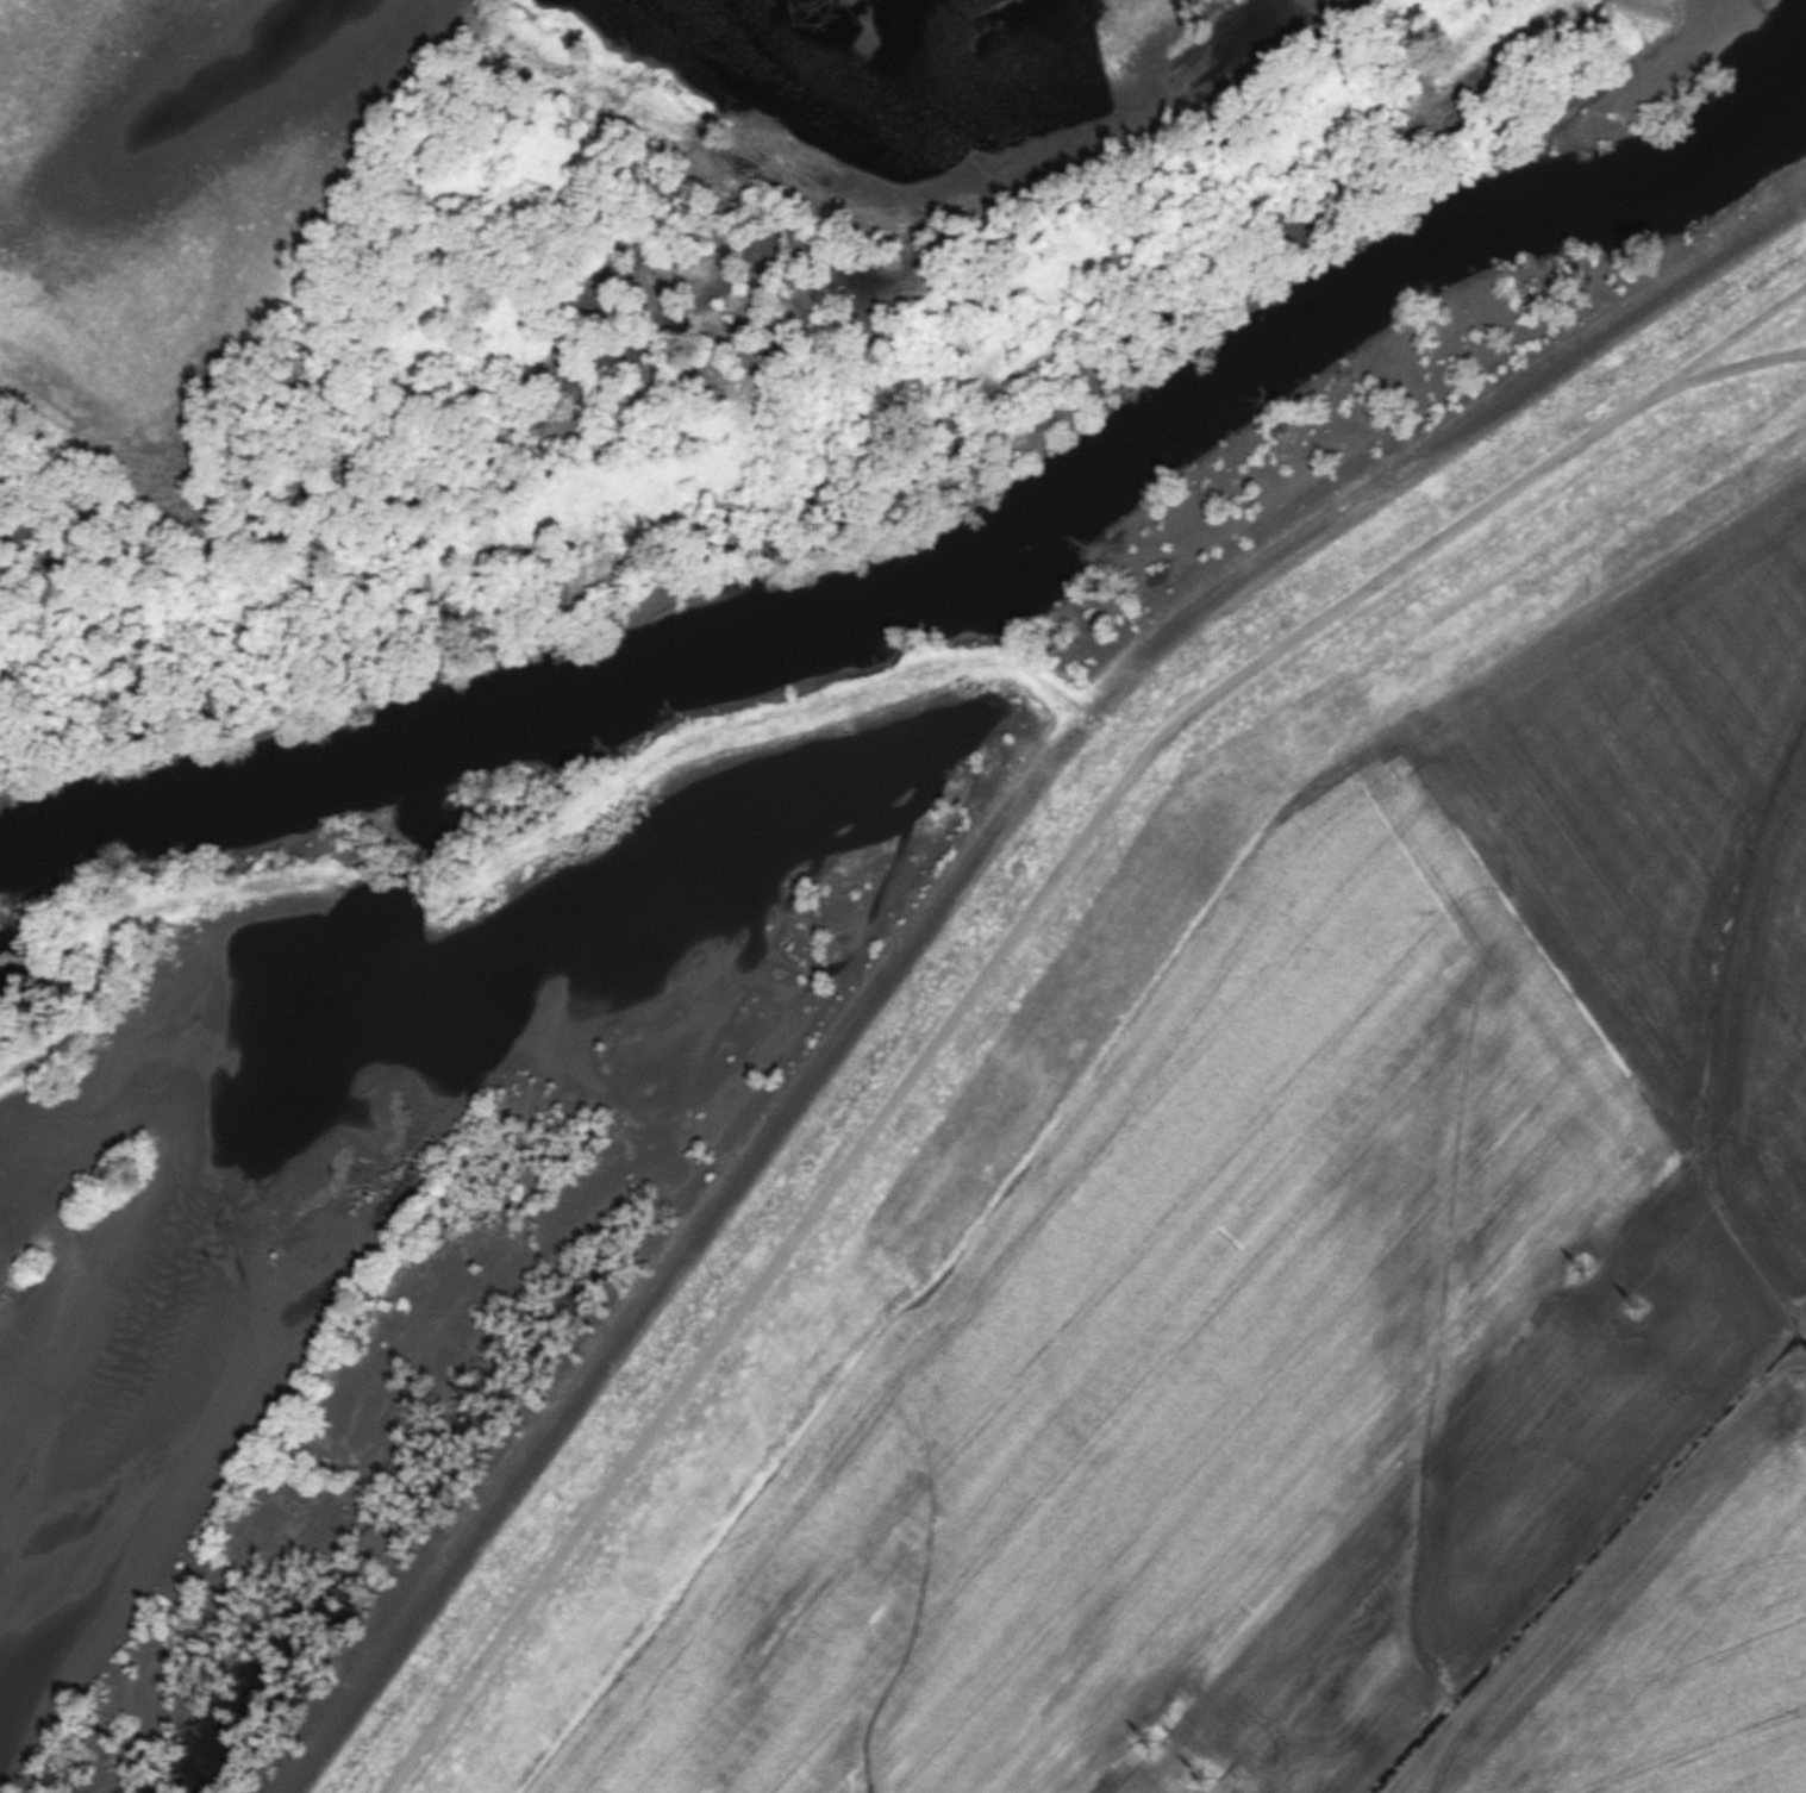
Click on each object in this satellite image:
crop: (173, 183)
road: (1727, 339)
road: (1000, 961)
power tower: (1585, 1267)
power tower: (1641, 1297)
crop: (1349, 1298)
crop: (87, 1388)
power tower: (1146, 1749)
power tower: (1202, 1786)

